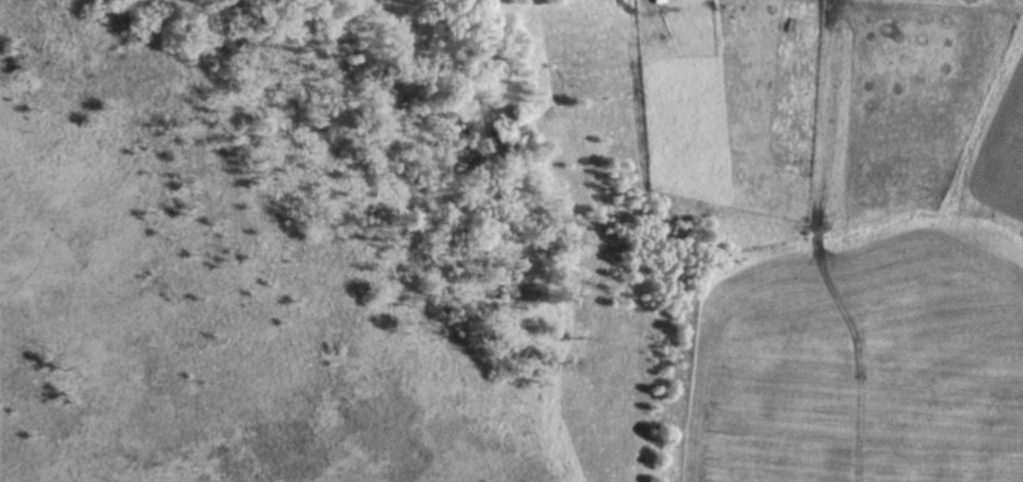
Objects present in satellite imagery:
building: (659, 1)

